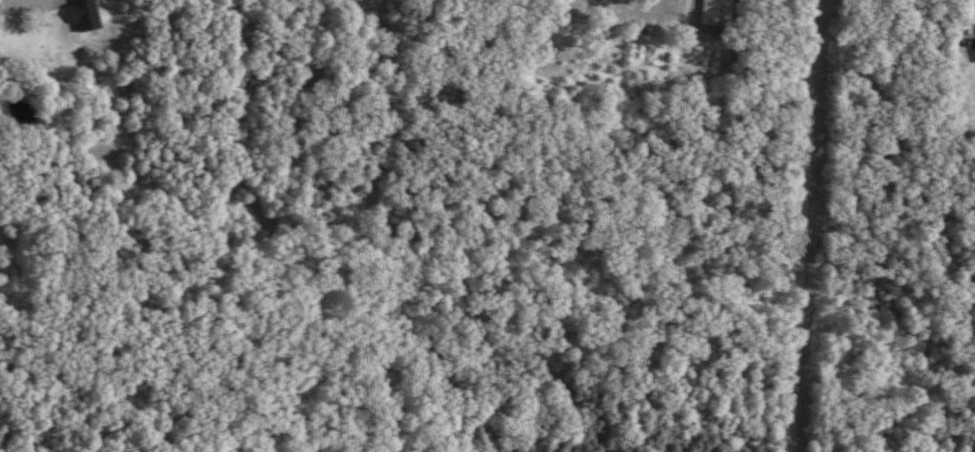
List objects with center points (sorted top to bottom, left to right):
road: (29, 6)
building: (715, 13)
road: (800, 226)

